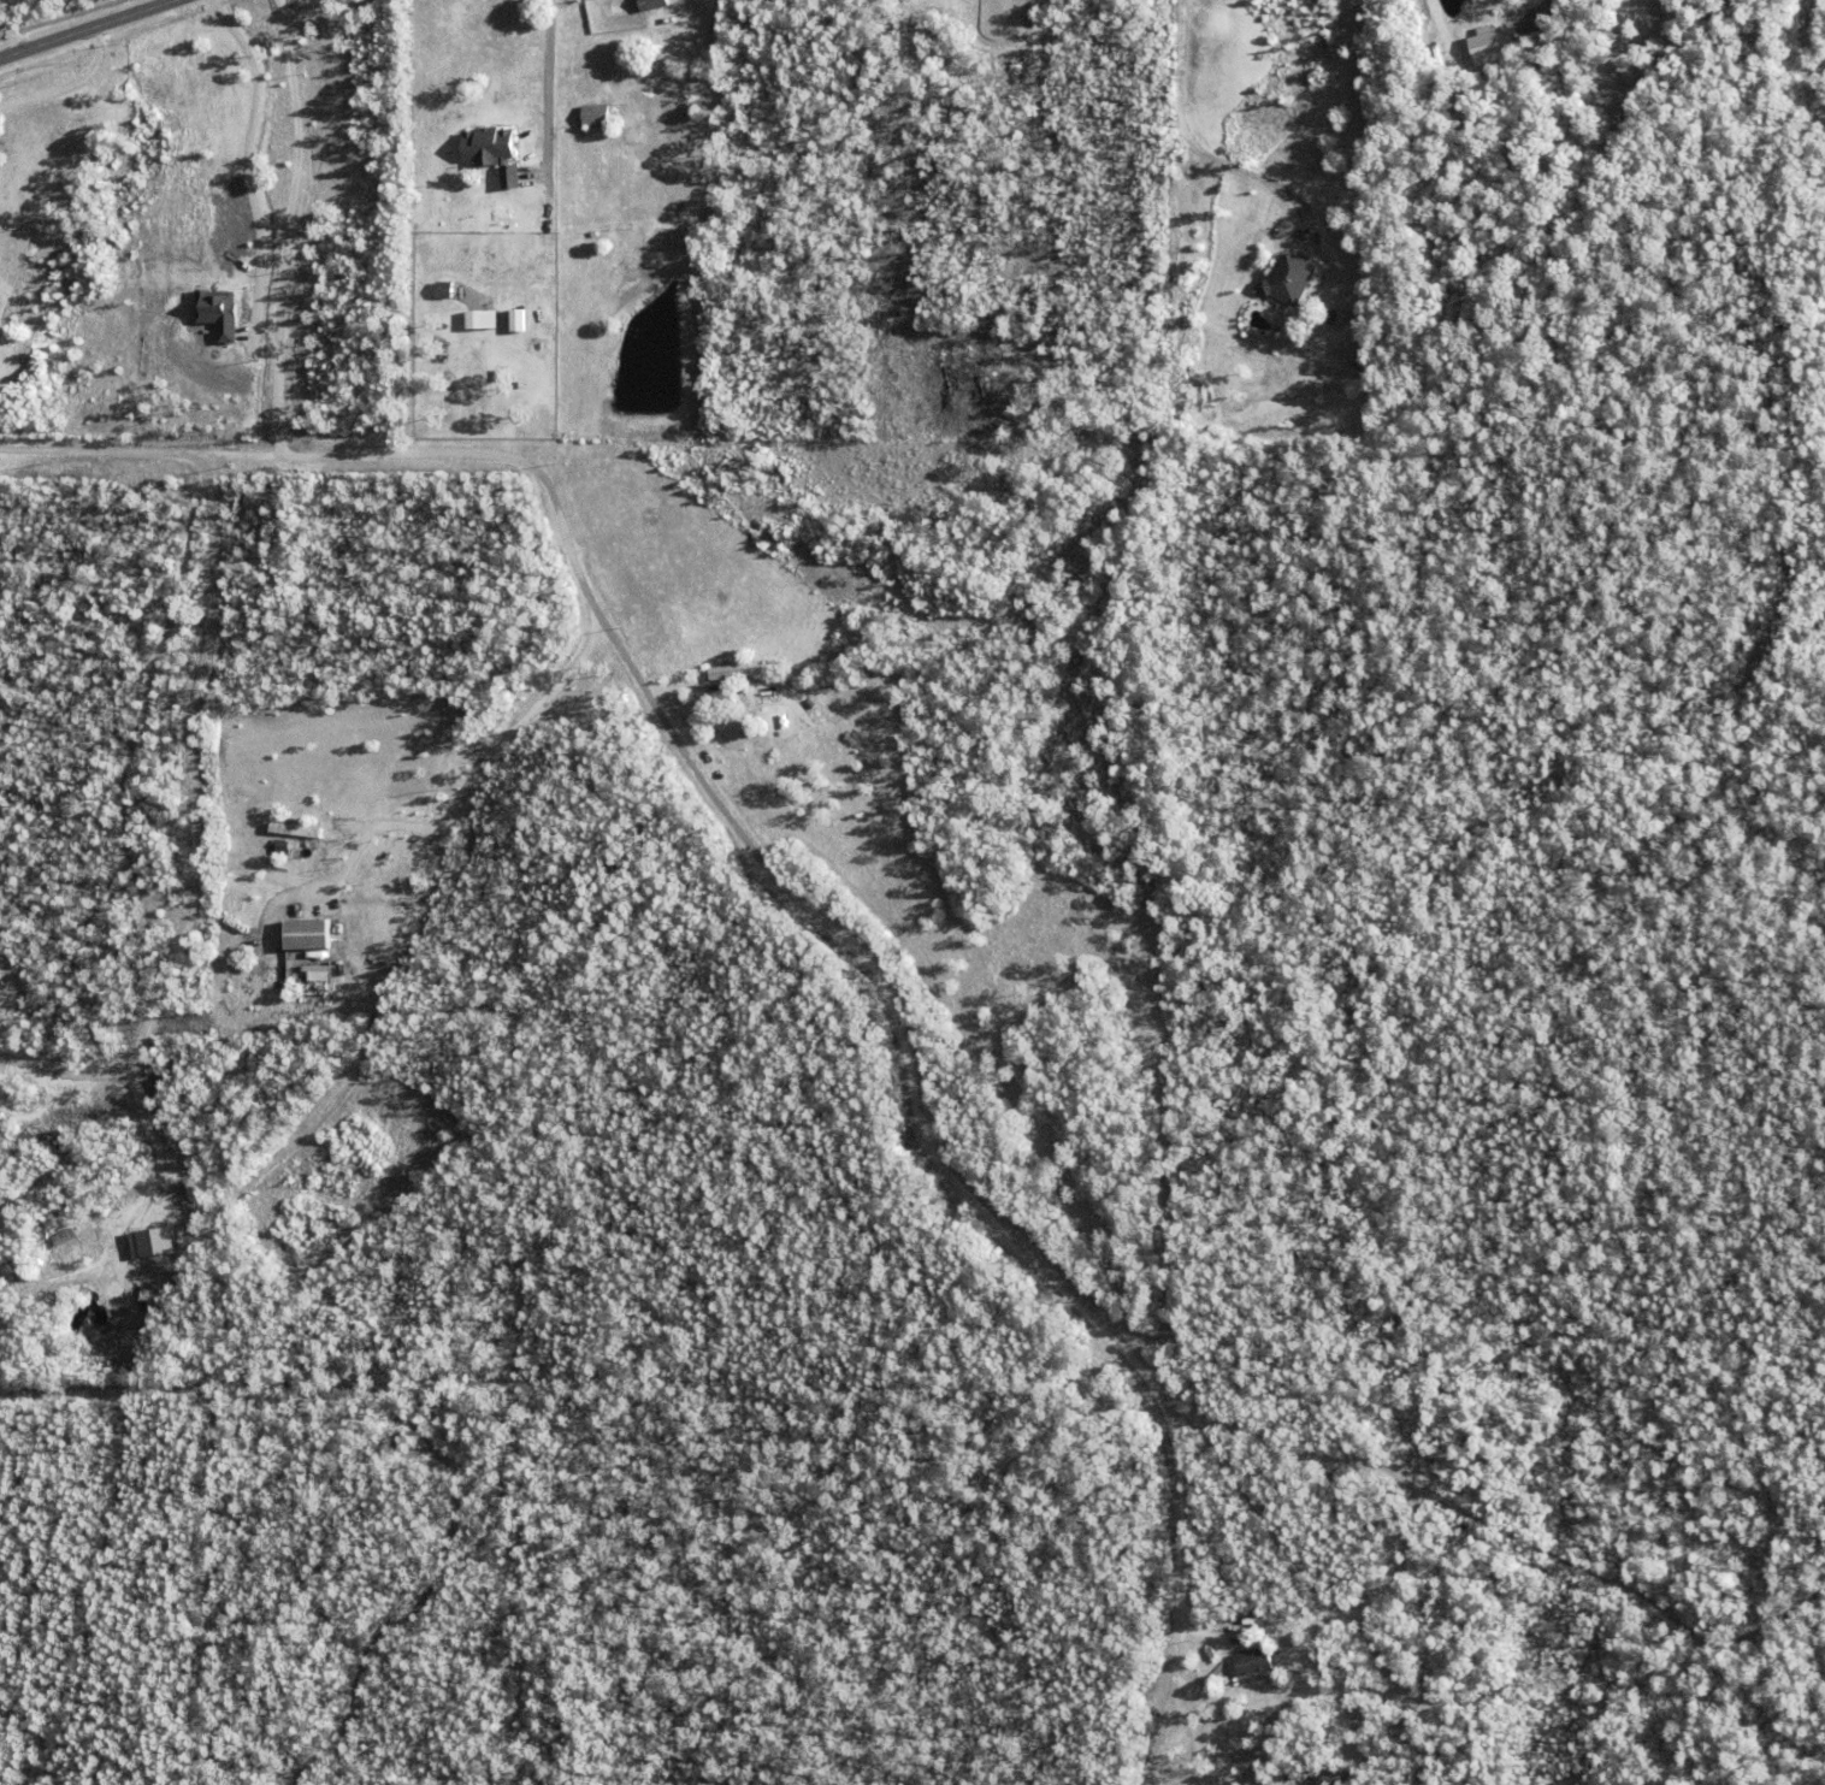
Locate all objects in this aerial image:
building: (657, 5)
road: (89, 30)
building: (1488, 45)
road: (1579, 59)
road: (67, 83)
building: (597, 117)
road: (545, 125)
building: (495, 154)
building: (1293, 279)
building: (445, 291)
building: (1331, 318)
building: (515, 319)
building: (483, 323)
building: (734, 670)
road: (689, 766)
building: (293, 828)
building: (305, 933)
building: (315, 971)
building: (1252, 1660)

